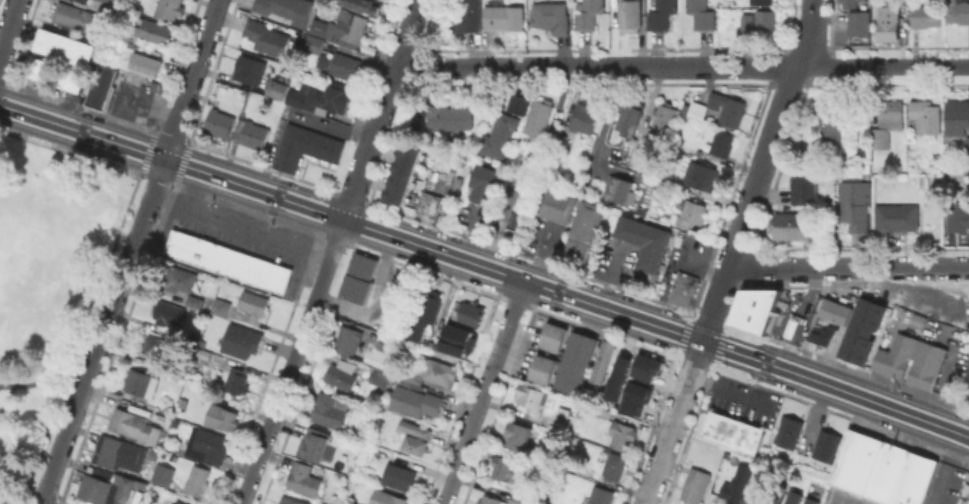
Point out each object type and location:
building: (382, 0)
building: (109, 1)
building: (761, 1)
building: (850, 3)
building: (362, 7)
building: (279, 8)
building: (170, 9)
building: (958, 11)
road: (412, 14)
building: (589, 14)
building: (662, 14)
building: (702, 14)
building: (630, 15)
building: (925, 15)
building: (504, 16)
building: (551, 16)
building: (80, 17)
building: (466, 17)
building: (765, 18)
building: (748, 20)
building: (889, 20)
building: (860, 22)
road: (9, 27)
building: (319, 27)
building: (351, 27)
building: (156, 30)
building: (125, 34)
building: (265, 37)
building: (314, 43)
building: (67, 46)
building: (146, 63)
building: (341, 64)
road: (682, 66)
building: (41, 68)
building: (250, 69)
building: (74, 78)
building: (102, 85)
building: (277, 90)
building: (297, 98)
building: (334, 98)
building: (515, 103)
building: (727, 106)
building: (696, 110)
building: (927, 115)
building: (450, 117)
building: (584, 117)
building: (664, 117)
building: (958, 117)
building: (539, 120)
building: (631, 120)
building: (220, 122)
building: (831, 122)
building: (888, 122)
road: (376, 124)
building: (451, 132)
road: (772, 132)
building: (252, 133)
building: (498, 135)
building: (561, 140)
building: (722, 143)
building: (968, 145)
building: (306, 146)
building: (538, 159)
road: (137, 160)
building: (964, 165)
building: (703, 175)
building: (404, 179)
building: (485, 182)
road: (191, 188)
building: (803, 190)
building: (618, 192)
building: (553, 204)
building: (430, 205)
road: (247, 207)
building: (854, 208)
building: (692, 213)
building: (958, 215)
building: (897, 217)
road: (298, 224)
road: (241, 225)
building: (791, 225)
building: (518, 227)
building: (582, 231)
building: (645, 244)
road: (130, 252)
building: (226, 260)
road: (485, 267)
road: (916, 267)
road: (795, 268)
building: (360, 277)
park: (46, 278)
building: (180, 278)
building: (684, 290)
road: (915, 295)
building: (195, 300)
building: (428, 301)
building: (254, 303)
road: (715, 303)
building: (221, 306)
building: (834, 310)
building: (169, 312)
building: (757, 312)
building: (471, 313)
building: (919, 322)
building: (790, 326)
building: (862, 331)
building: (821, 333)
building: (552, 336)
building: (243, 339)
building: (351, 341)
building: (457, 341)
building: (389, 343)
building: (156, 346)
building: (205, 353)
building: (607, 359)
building: (909, 360)
building: (199, 361)
building: (574, 361)
road: (292, 362)
building: (619, 366)
building: (646, 367)
building: (540, 368)
building: (436, 371)
building: (342, 374)
building: (967, 375)
road: (43, 376)
building: (379, 377)
building: (237, 380)
building: (141, 382)
building: (952, 386)
road: (484, 392)
building: (533, 396)
building: (634, 397)
building: (416, 400)
building: (329, 409)
building: (604, 411)
building: (221, 416)
road: (673, 422)
building: (131, 423)
building: (562, 423)
building: (785, 430)
building: (522, 431)
building: (623, 434)
building: (417, 436)
building: (734, 436)
building: (316, 440)
building: (824, 445)
building: (210, 446)
building: (115, 449)
building: (503, 466)
building: (613, 467)
road: (945, 468)
building: (881, 469)
building: (160, 473)
building: (398, 474)
building: (197, 479)
building: (303, 479)
building: (736, 483)
building: (105, 485)
building: (695, 485)
building: (760, 489)
building: (778, 492)
road: (15, 494)
building: (964, 494)
building: (601, 495)
building: (796, 496)
building: (387, 497)
building: (489, 499)
building: (516, 499)
building: (815, 500)
building: (295, 501)
building: (180, 502)

